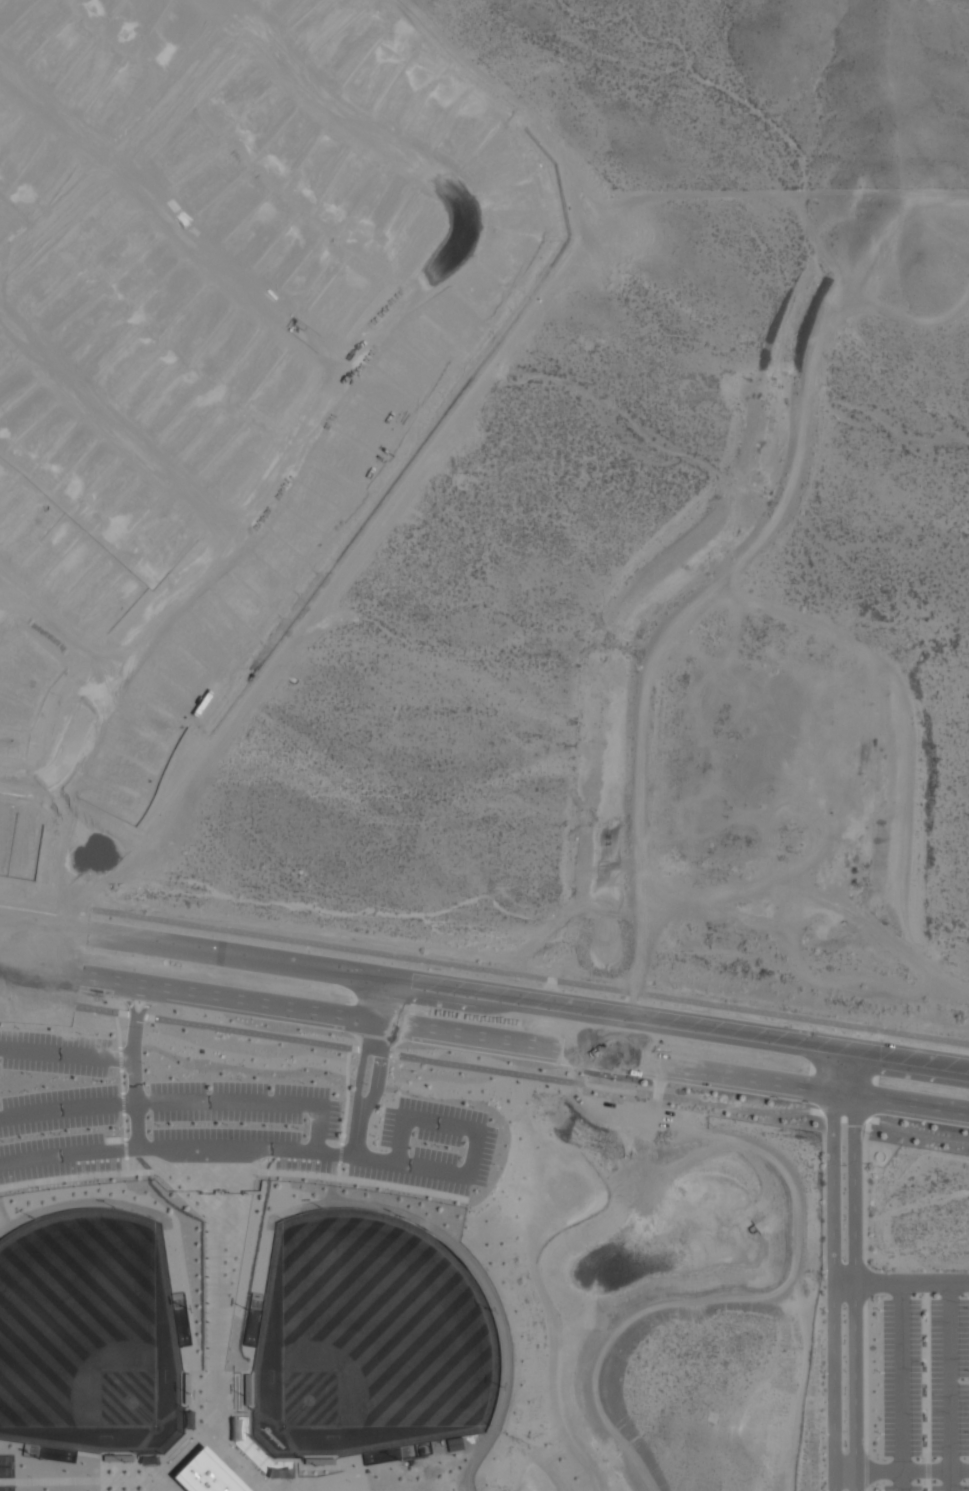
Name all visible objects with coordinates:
road: (342, 114)
road: (125, 150)
road: (169, 215)
road: (113, 425)
road: (255, 500)
road: (11, 607)
road: (53, 620)
road: (661, 633)
road: (24, 785)
road: (530, 977)
road: (440, 989)
road: (129, 1000)
road: (150, 1002)
road: (433, 1030)
road: (364, 1040)
road: (382, 1044)
road: (67, 1049)
road: (925, 1060)
road: (135, 1083)
road: (252, 1101)
parking lot: (55, 1102)
road: (68, 1105)
road: (920, 1108)
parking lot: (244, 1111)
road: (775, 1112)
road: (358, 1130)
parking lot: (412, 1145)
road: (70, 1154)
road: (395, 1165)
road: (840, 1268)
road: (860, 1270)
road: (905, 1282)
road: (218, 1286)
park: (92, 1324)
park: (370, 1334)
stadium: (278, 1337)
road: (903, 1386)
road: (950, 1386)
parking lot: (920, 1390)
road: (206, 1425)
road: (134, 1471)
road: (901, 1471)
building: (206, 1474)
road: (289, 1487)

